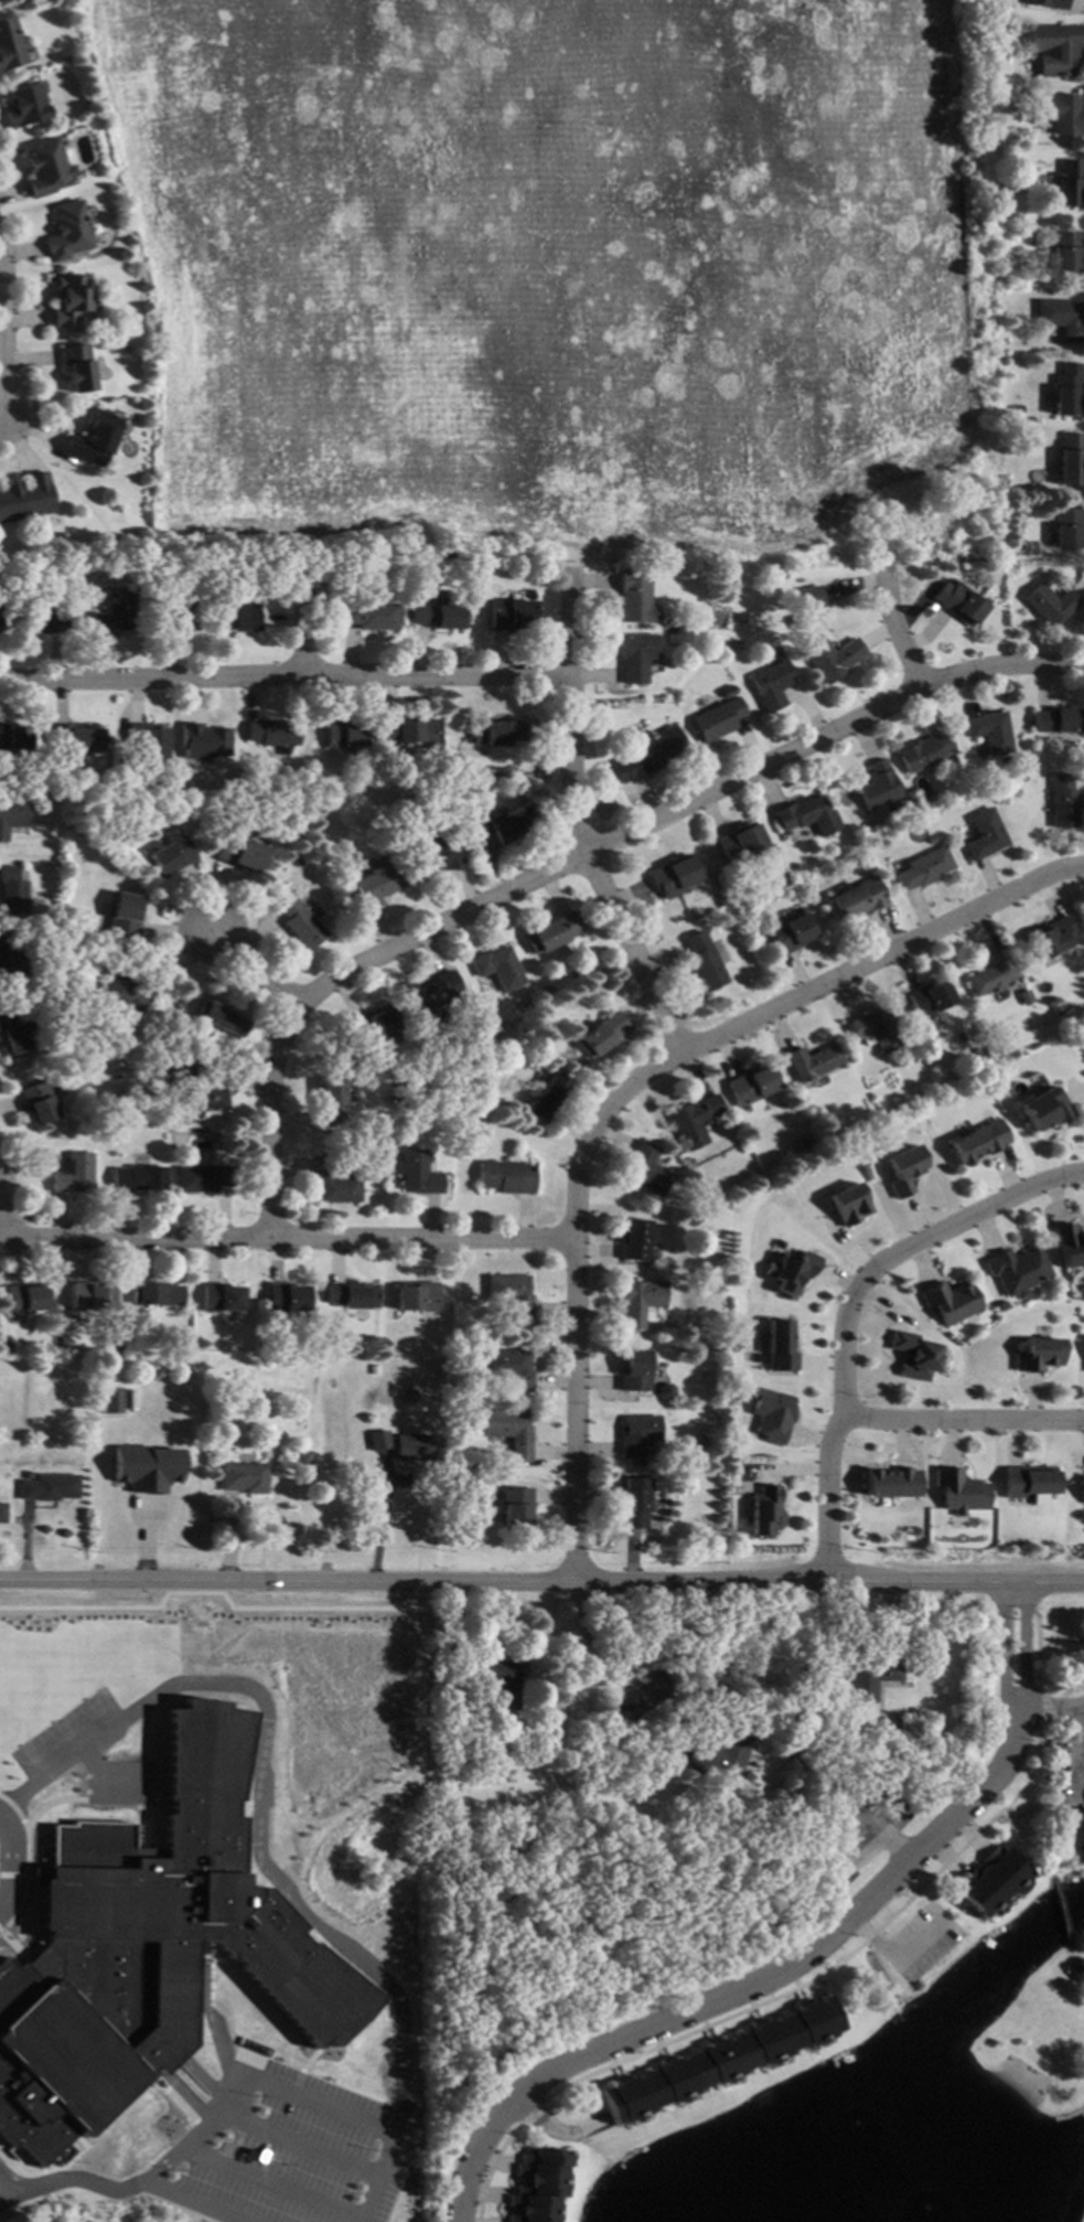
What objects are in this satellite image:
building: (1047, 3)
building: (9, 44)
building: (1056, 46)
building: (22, 105)
building: (1059, 113)
building: (42, 167)
building: (1065, 184)
building: (65, 232)
building: (1065, 249)
crop: (550, 269)
building: (72, 299)
building: (1060, 318)
road: (3, 334)
building: (77, 367)
building: (1065, 391)
building: (1016, 408)
building: (93, 438)
building: (1070, 460)
building: (25, 499)
building: (1065, 526)
building: (394, 564)
building: (633, 598)
building: (808, 598)
building: (959, 605)
building: (1048, 605)
building: (179, 613)
building: (438, 613)
building: (114, 615)
building: (368, 616)
building: (509, 616)
building: (237, 617)
building: (44, 618)
building: (698, 618)
building: (736, 618)
building: (793, 623)
road: (900, 633)
building: (669, 638)
building: (633, 656)
building: (829, 658)
building: (725, 676)
road: (283, 679)
building: (769, 685)
building: (726, 688)
building: (716, 719)
building: (1058, 720)
building: (406, 730)
building: (497, 733)
building: (988, 733)
building: (272, 734)
building: (342, 734)
building: (11, 737)
building: (74, 739)
building: (204, 740)
building: (149, 743)
building: (922, 752)
building: (650, 754)
building: (948, 760)
building: (876, 787)
building: (1062, 802)
building: (358, 809)
building: (411, 812)
building: (806, 815)
building: (12, 816)
building: (475, 823)
road: (576, 823)
building: (437, 824)
building: (509, 824)
building: (367, 829)
building: (983, 835)
building: (931, 840)
building: (738, 844)
building: (239, 853)
building: (428, 854)
building: (171, 856)
road: (573, 856)
building: (922, 869)
building: (780, 872)
building: (672, 876)
building: (374, 883)
building: (11, 895)
building: (855, 900)
building: (716, 901)
building: (739, 906)
building: (124, 916)
building: (45, 922)
building: (299, 923)
building: (551, 933)
building: (790, 934)
building: (1051, 937)
road: (881, 953)
building: (702, 962)
building: (11, 963)
road: (248, 964)
building: (497, 968)
building: (991, 974)
building: (124, 992)
building: (432, 993)
building: (1024, 997)
building: (927, 998)
building: (1056, 1009)
building: (221, 1018)
building: (374, 1027)
building: (876, 1029)
building: (602, 1035)
building: (11, 1036)
building: (812, 1061)
building: (750, 1087)
building: (202, 1091)
building: (547, 1098)
building: (330, 1101)
building: (36, 1102)
building: (1044, 1107)
building: (693, 1121)
building: (976, 1142)
building: (802, 1143)
building: (902, 1169)
building: (645, 1171)
building: (71, 1173)
building: (416, 1174)
building: (505, 1176)
building: (201, 1178)
building: (136, 1179)
building: (333, 1184)
building: (847, 1204)
road: (7, 1206)
building: (693, 1220)
road: (286, 1235)
building: (632, 1241)
building: (1069, 1246)
building: (1017, 1268)
building: (788, 1270)
road: (572, 1292)
building: (154, 1294)
building: (351, 1295)
building: (508, 1295)
building: (416, 1296)
building: (23, 1297)
building: (90, 1297)
building: (285, 1297)
building: (219, 1299)
building: (949, 1301)
building: (638, 1302)
road: (846, 1305)
building: (6, 1343)
building: (777, 1345)
building: (713, 1347)
building: (118, 1352)
building: (914, 1354)
building: (1039, 1354)
building: (509, 1368)
building: (1, 1369)
building: (633, 1372)
building: (108, 1400)
building: (770, 1414)
road: (962, 1416)
building: (507, 1431)
building: (636, 1435)
building: (377, 1441)
building: (409, 1447)
building: (301, 1461)
building: (144, 1467)
building: (243, 1477)
building: (453, 1479)
building: (891, 1481)
building: (1028, 1482)
building: (47, 1488)
building: (1082, 1488)
building: (959, 1491)
building: (635, 1503)
building: (515, 1507)
building: (763, 1509)
building: (1, 1513)
road: (380, 1523)
building: (912, 1535)
road: (541, 1581)
road: (1038, 1635)
road: (1024, 1643)
road: (1006, 1645)
building: (871, 1678)
building: (498, 1682)
building: (438, 1685)
road: (1038, 1707)
road: (1051, 1707)
building: (889, 1727)
building: (886, 1743)
building: (719, 1758)
road: (258, 1793)
building: (1073, 1834)
road: (1024, 1845)
building: (653, 1852)
building: (513, 1854)
road: (9, 1861)
building: (534, 1872)
building: (990, 1882)
road: (1060, 1915)
building: (148, 1948)
road: (834, 1963)
building: (1076, 1969)
road: (752, 1981)
road: (1051, 2020)
building: (719, 2060)
road: (299, 2097)
road: (533, 2111)
road: (298, 2144)
road: (491, 2168)
road: (88, 2181)
road: (14, 2182)
road: (272, 2182)
building: (537, 2186)
road: (15, 2199)
road: (197, 2201)

